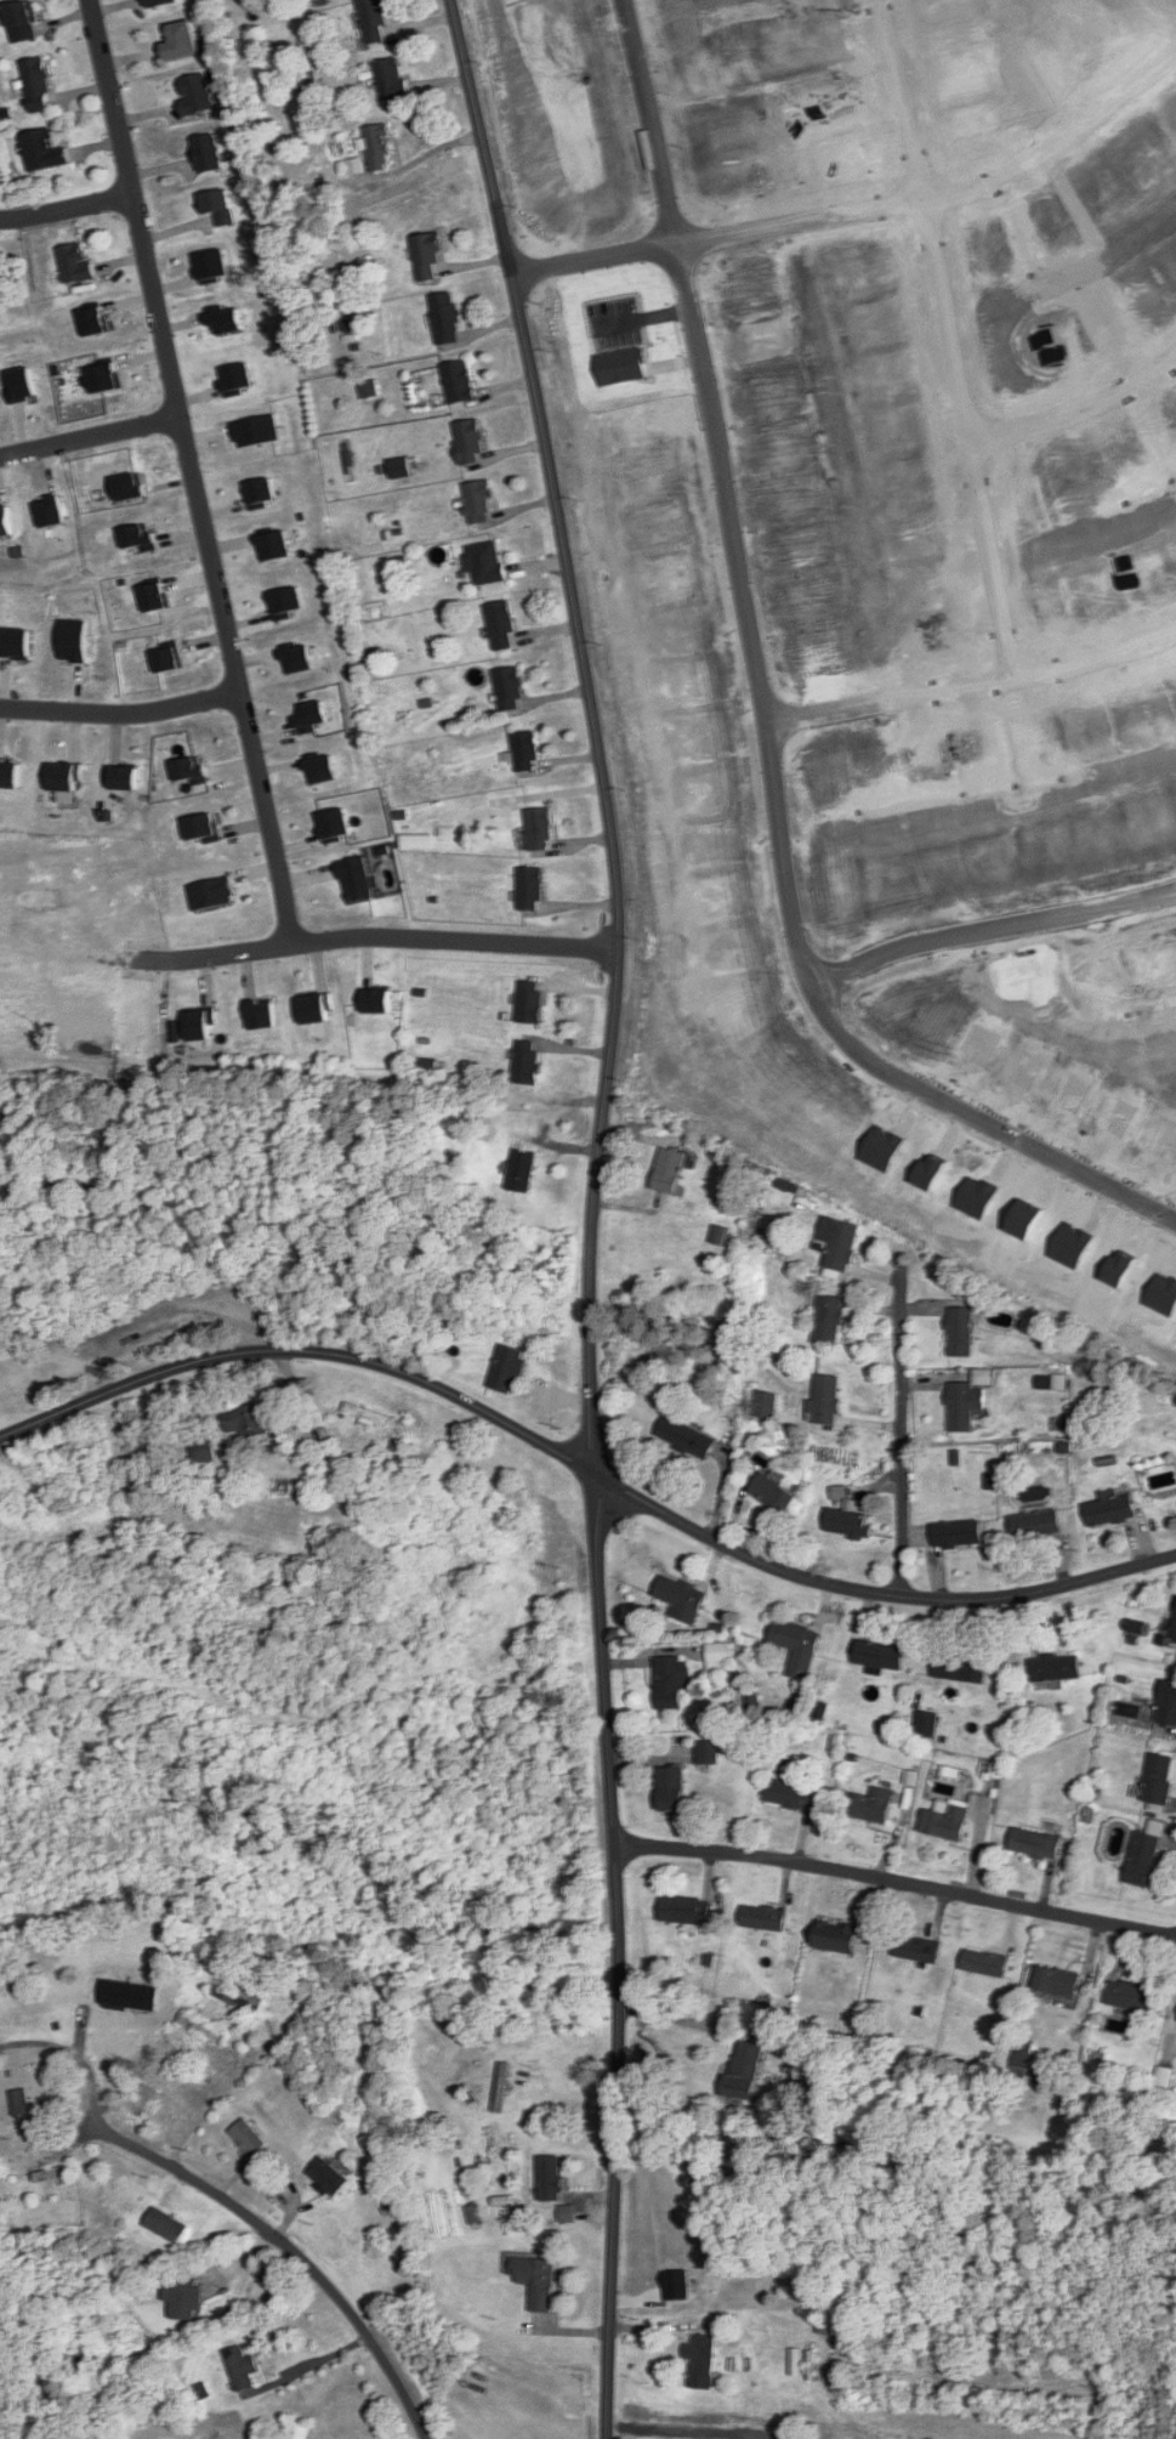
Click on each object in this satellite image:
building: (164, 2)
building: (376, 19)
building: (24, 22)
building: (181, 41)
building: (391, 79)
building: (39, 85)
building: (194, 95)
building: (381, 147)
building: (44, 152)
building: (210, 153)
building: (221, 209)
road: (63, 210)
road: (823, 217)
building: (430, 256)
building: (75, 263)
building: (2, 288)
building: (448, 319)
road: (949, 354)
building: (460, 382)
road: (1075, 410)
road: (89, 439)
building: (472, 442)
building: (400, 469)
road: (188, 471)
building: (482, 504)
building: (6, 522)
building: (487, 565)
building: (502, 626)
road: (971, 682)
building: (512, 690)
road: (119, 714)
road: (768, 748)
building: (527, 753)
building: (540, 830)
building: (532, 890)
road: (990, 928)
road: (379, 936)
building: (532, 1003)
building: (529, 1065)
building: (523, 1172)
building: (674, 1173)
road: (597, 1210)
building: (842, 1250)
building: (830, 1321)
building: (961, 1333)
building: (509, 1369)
building: (826, 1401)
building: (765, 1406)
building: (965, 1406)
road: (897, 1414)
building: (370, 1418)
building: (251, 1423)
building: (687, 1439)
building: (200, 1452)
road: (583, 1470)
building: (774, 1496)
building: (1112, 1510)
building: (848, 1519)
building: (1038, 1526)
building: (959, 1536)
building: (682, 1599)
building: (797, 1643)
building: (881, 1655)
building: (721, 1656)
building: (961, 1667)
building: (1057, 1667)
building: (669, 1683)
building: (1168, 1703)
building: (928, 1722)
building: (708, 1752)
building: (1159, 1779)
building: (672, 1788)
building: (794, 1793)
building: (871, 1804)
building: (948, 1819)
building: (1038, 1843)
building: (1146, 1855)
road: (894, 1883)
building: (687, 1910)
building: (765, 1917)
building: (840, 1936)
building: (919, 1949)
building: (987, 1962)
building: (1059, 1981)
building: (1134, 1996)
building: (239, 1998)
road: (692, 2020)
building: (203, 2029)
road: (75, 2054)
building: (746, 2070)
building: (502, 2087)
building: (144, 2100)
building: (22, 2101)
building: (250, 2138)
building: (55, 2173)
building: (329, 2177)
building: (552, 2178)
building: (167, 2225)
road: (275, 2236)
building: (538, 2281)
building: (184, 2298)
building: (701, 2361)
building: (243, 2369)
building: (300, 2429)

